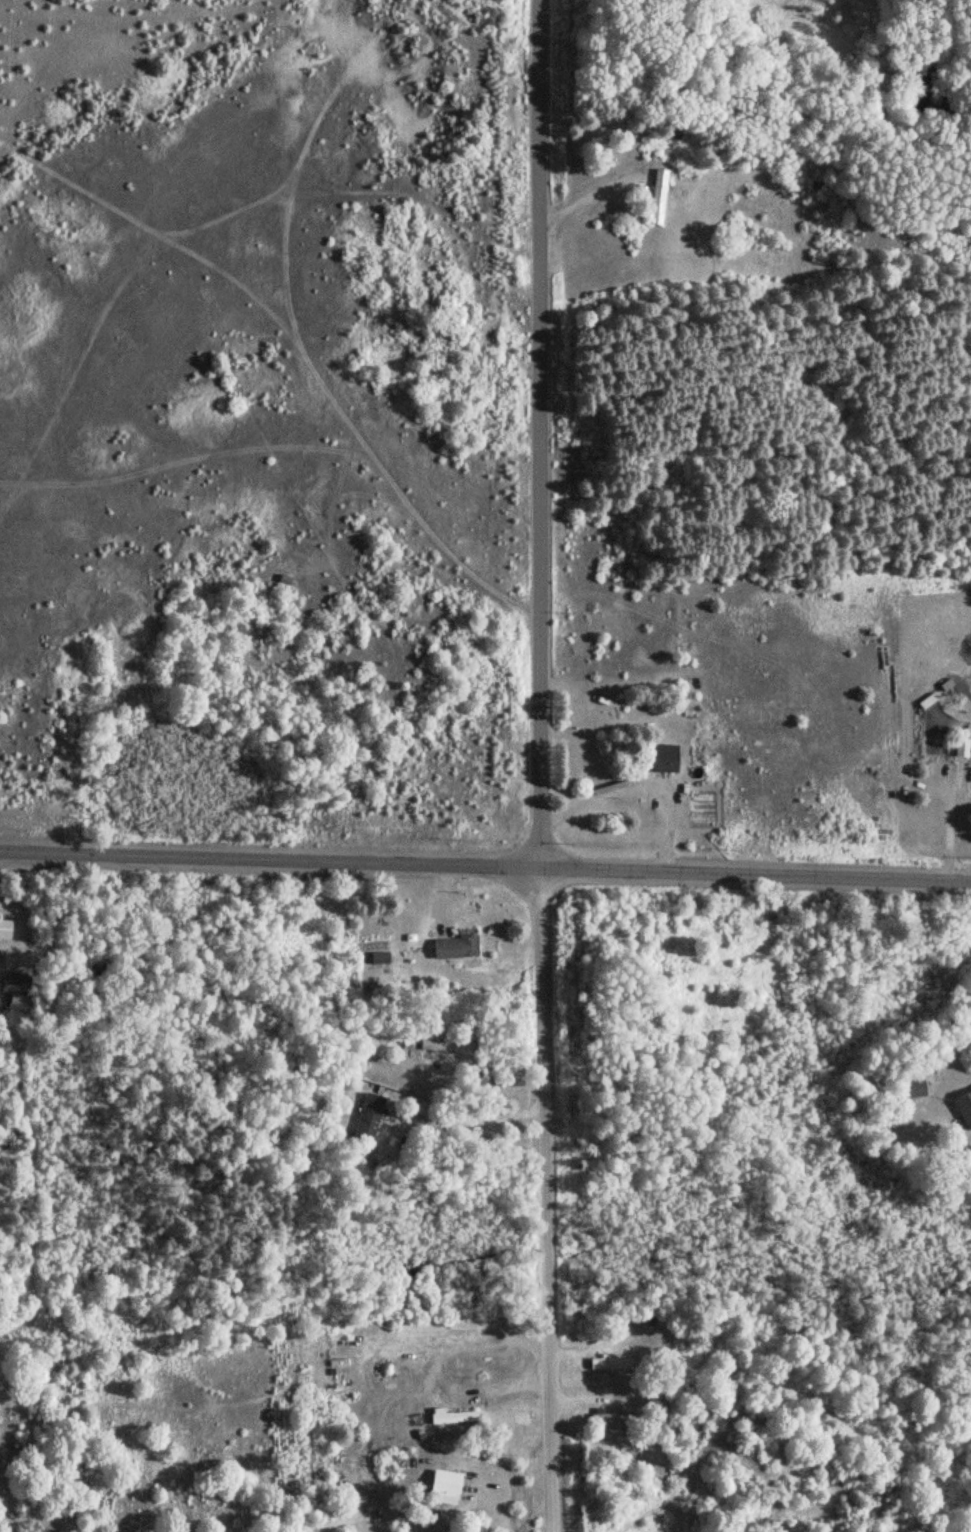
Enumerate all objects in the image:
building: (656, 197)
road: (538, 434)
building: (924, 701)
building: (959, 748)
building: (662, 759)
road: (485, 866)
building: (3, 925)
building: (453, 947)
building: (378, 958)
building: (19, 1002)
building: (421, 1044)
building: (913, 1086)
building: (963, 1106)
building: (366, 1117)
road: (547, 1199)
building: (608, 1363)
building: (451, 1417)
building: (614, 1418)

